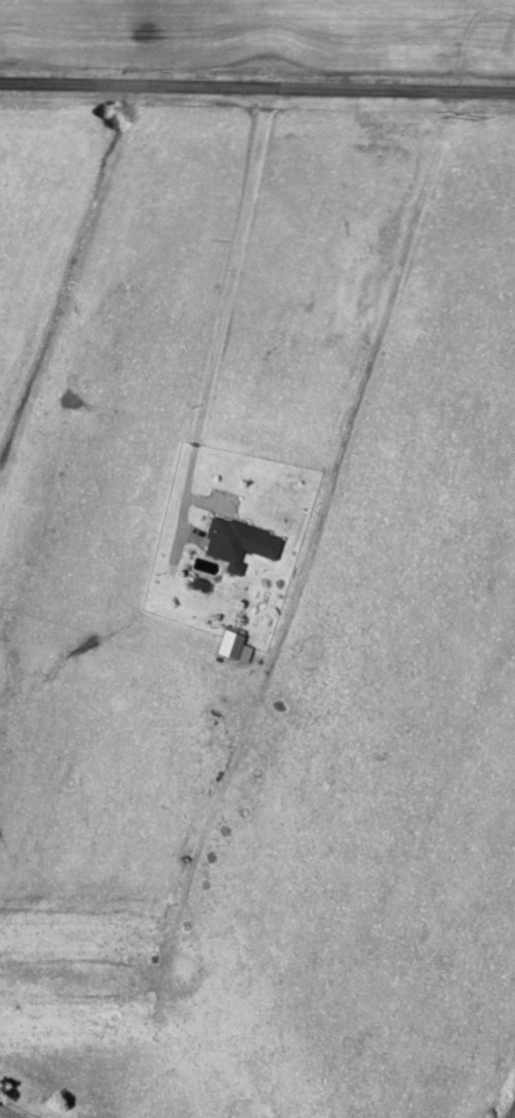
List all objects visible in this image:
road: (257, 83)
power tower: (476, 117)
building: (233, 544)
building: (77, 936)
building: (76, 1015)

